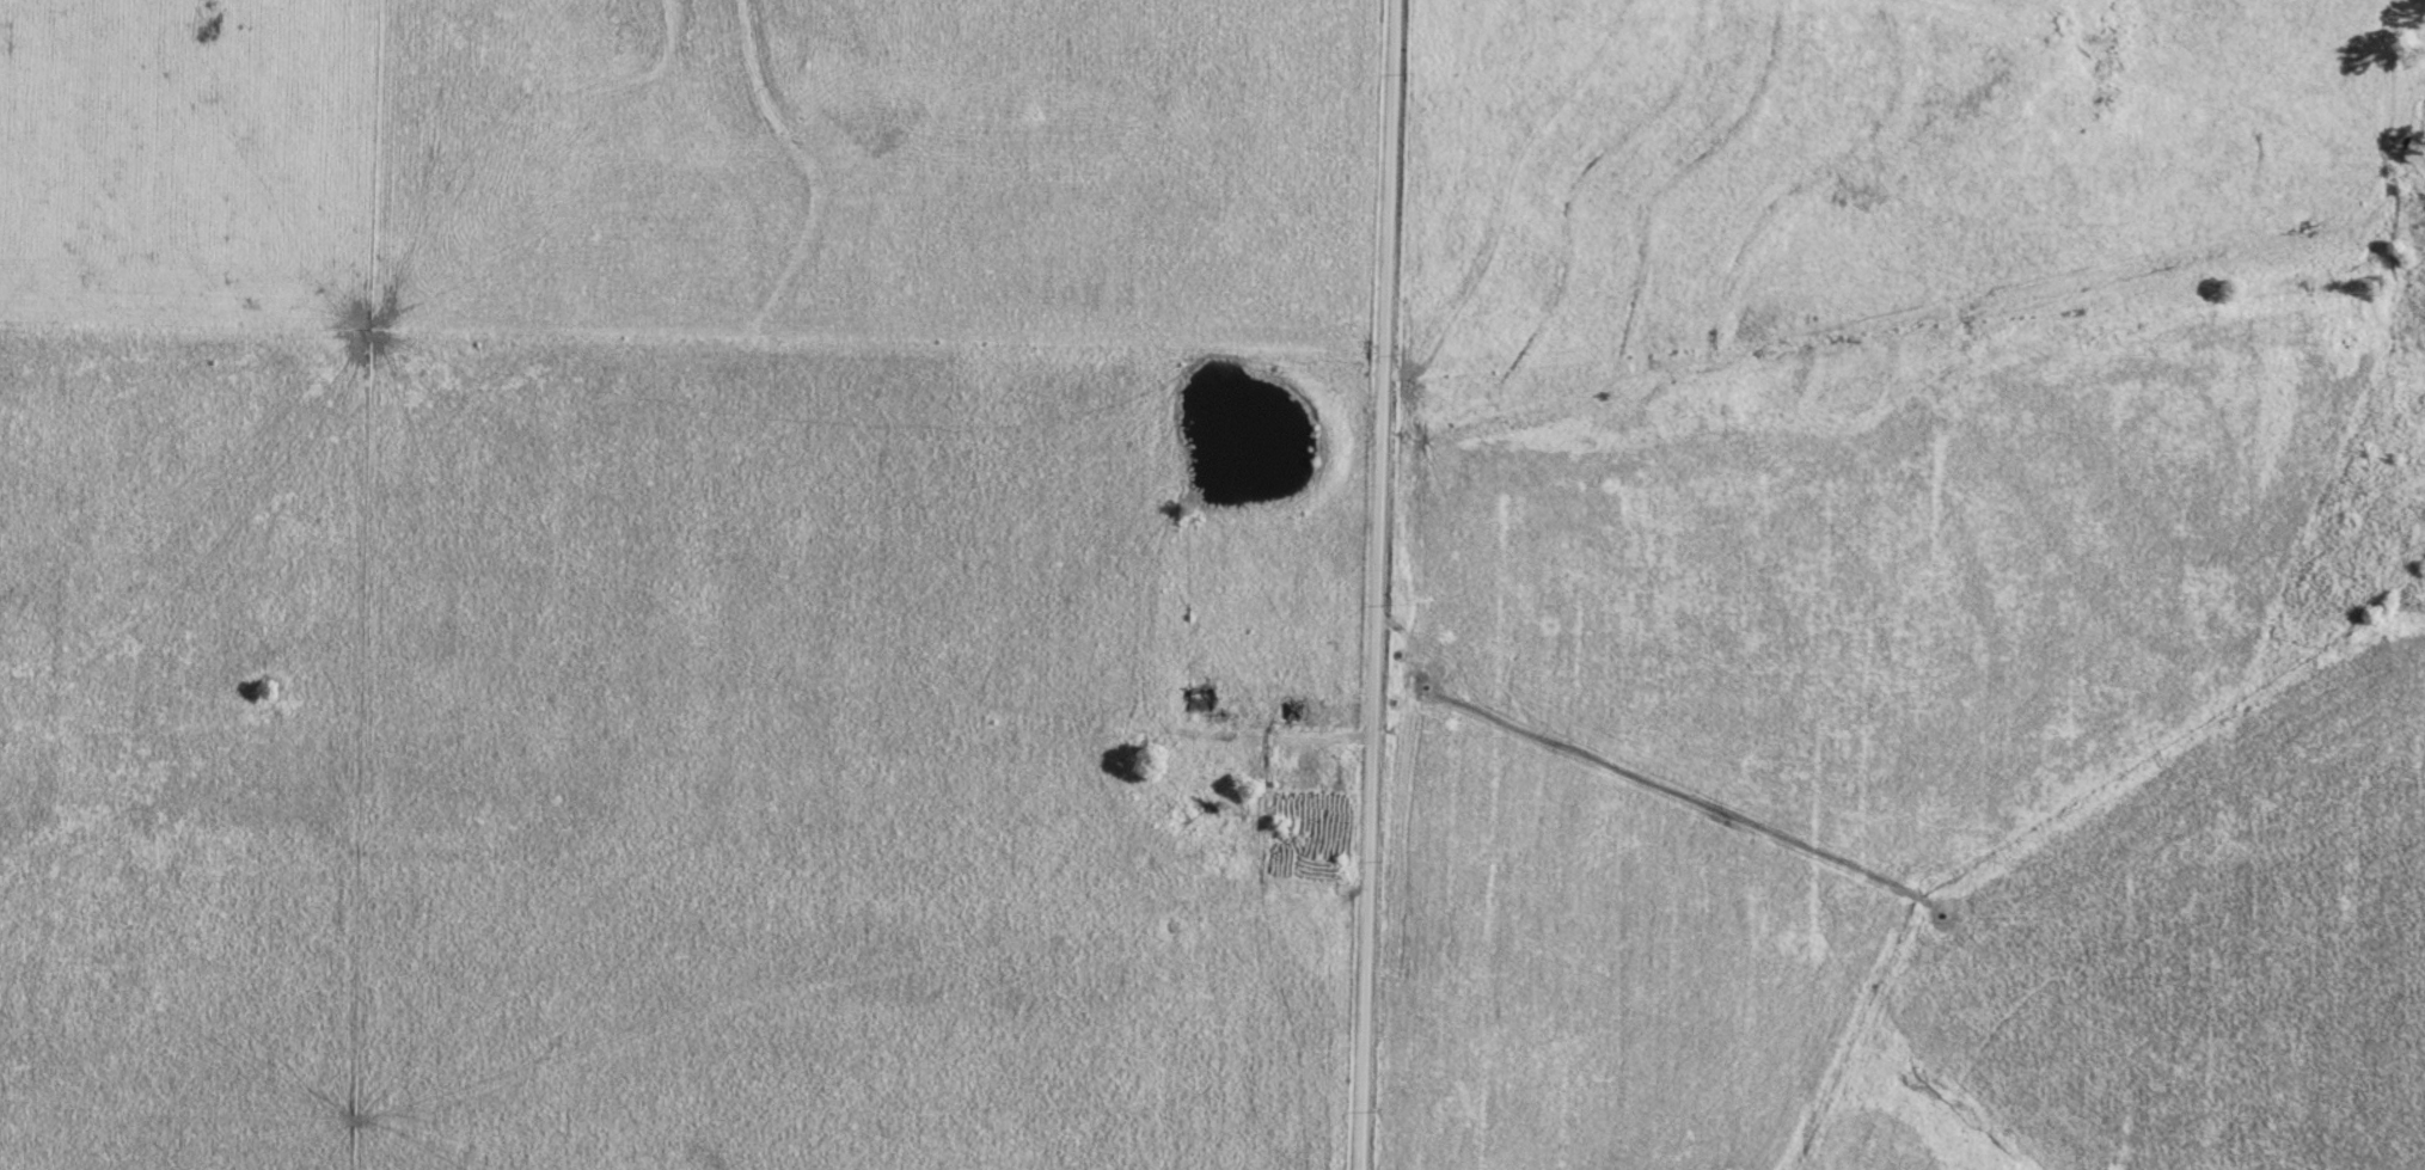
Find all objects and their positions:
road: (1376, 584)
building: (1201, 699)

